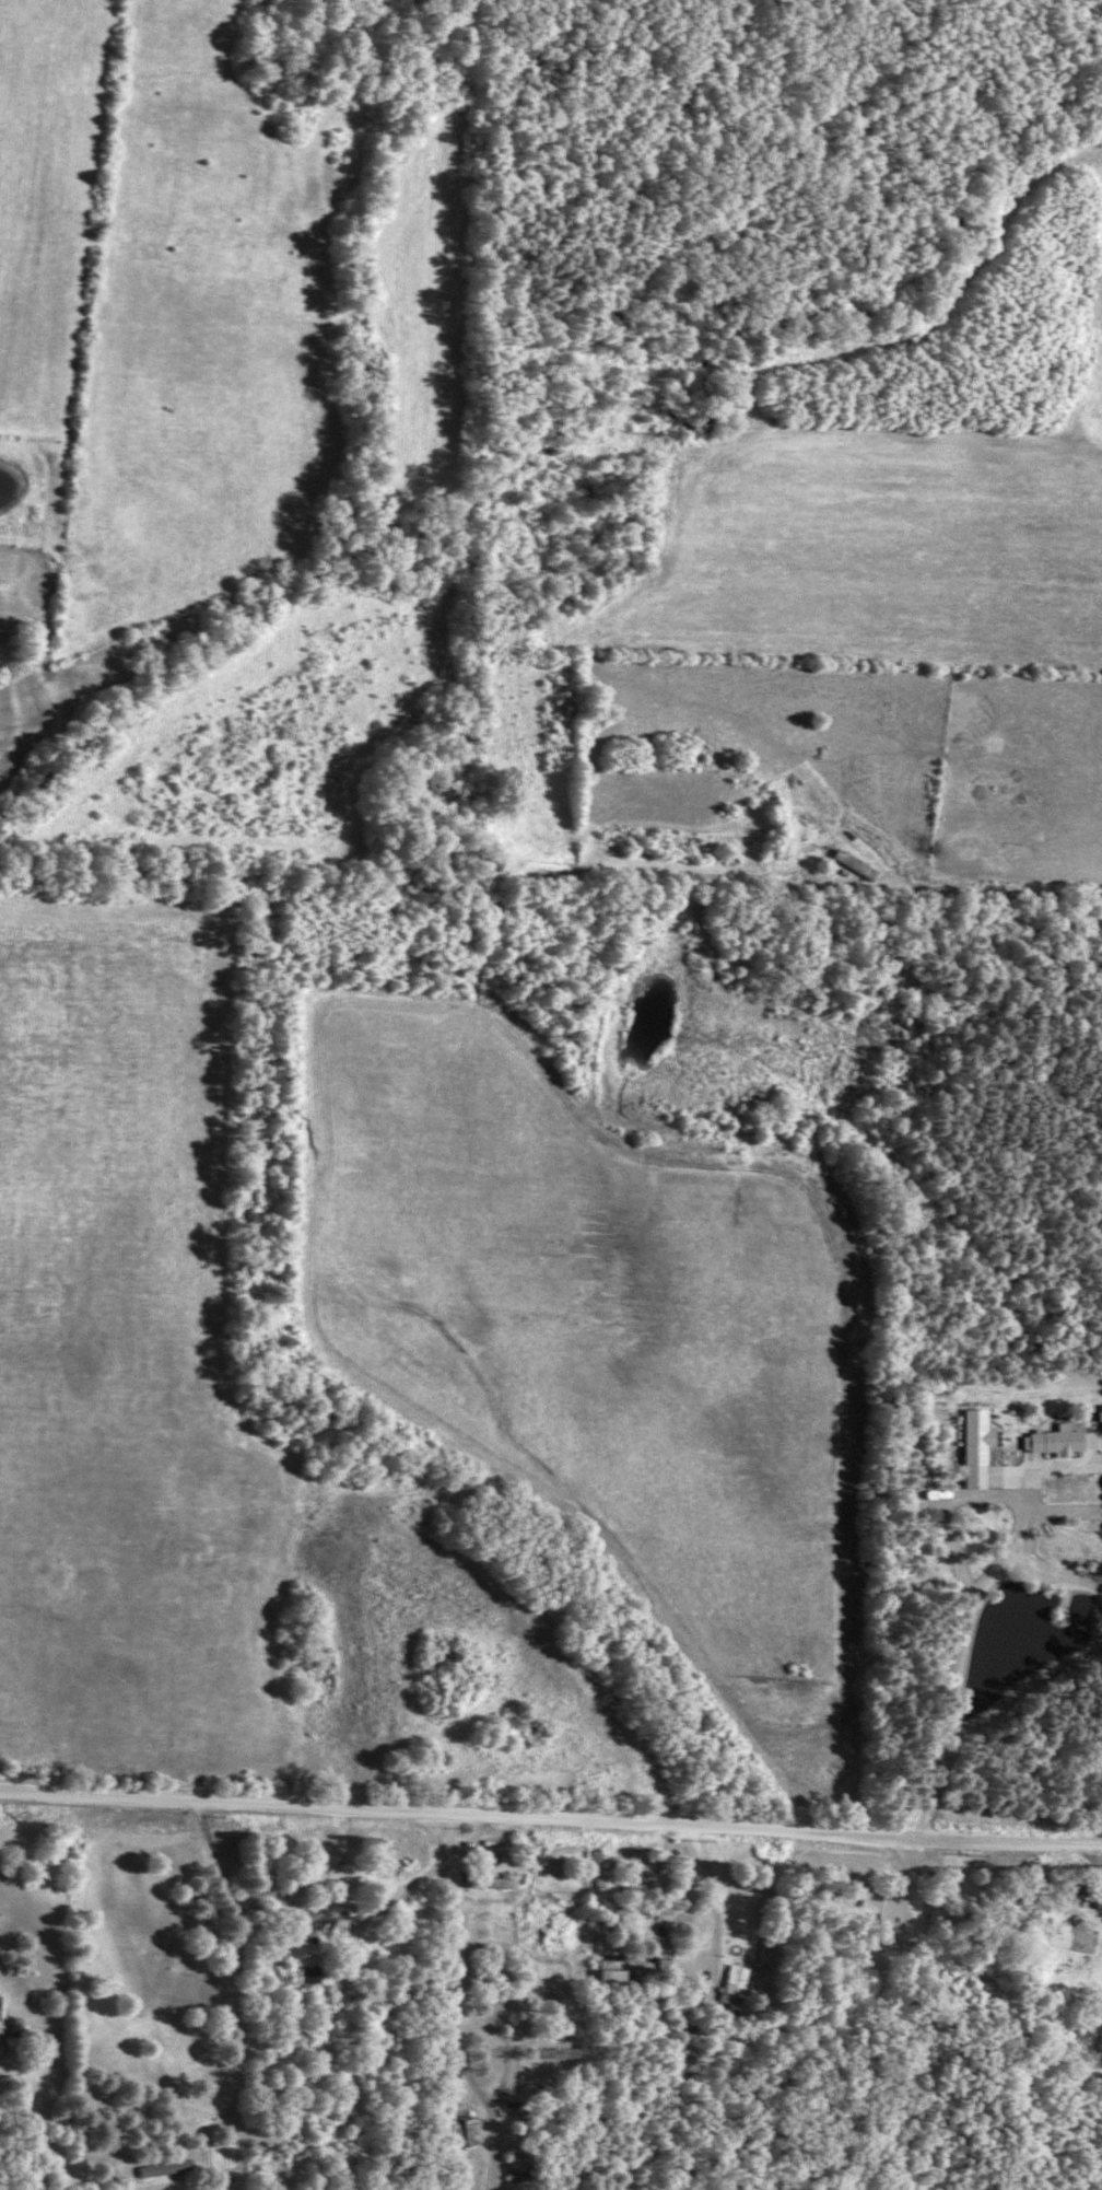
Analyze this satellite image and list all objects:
building: (5, 634)
building: (854, 865)
road: (1052, 1387)
building: (927, 1413)
building: (969, 1436)
building: (1050, 1440)
road: (947, 1731)
road: (550, 1821)
building: (483, 1882)
road: (455, 1906)
building: (890, 1907)
building: (328, 1921)
road: (360, 1931)
building: (304, 1976)
road: (694, 1982)
building: (732, 1990)
road: (235, 2005)
road: (457, 2074)
building: (455, 2128)
road: (104, 2152)
building: (161, 2169)

